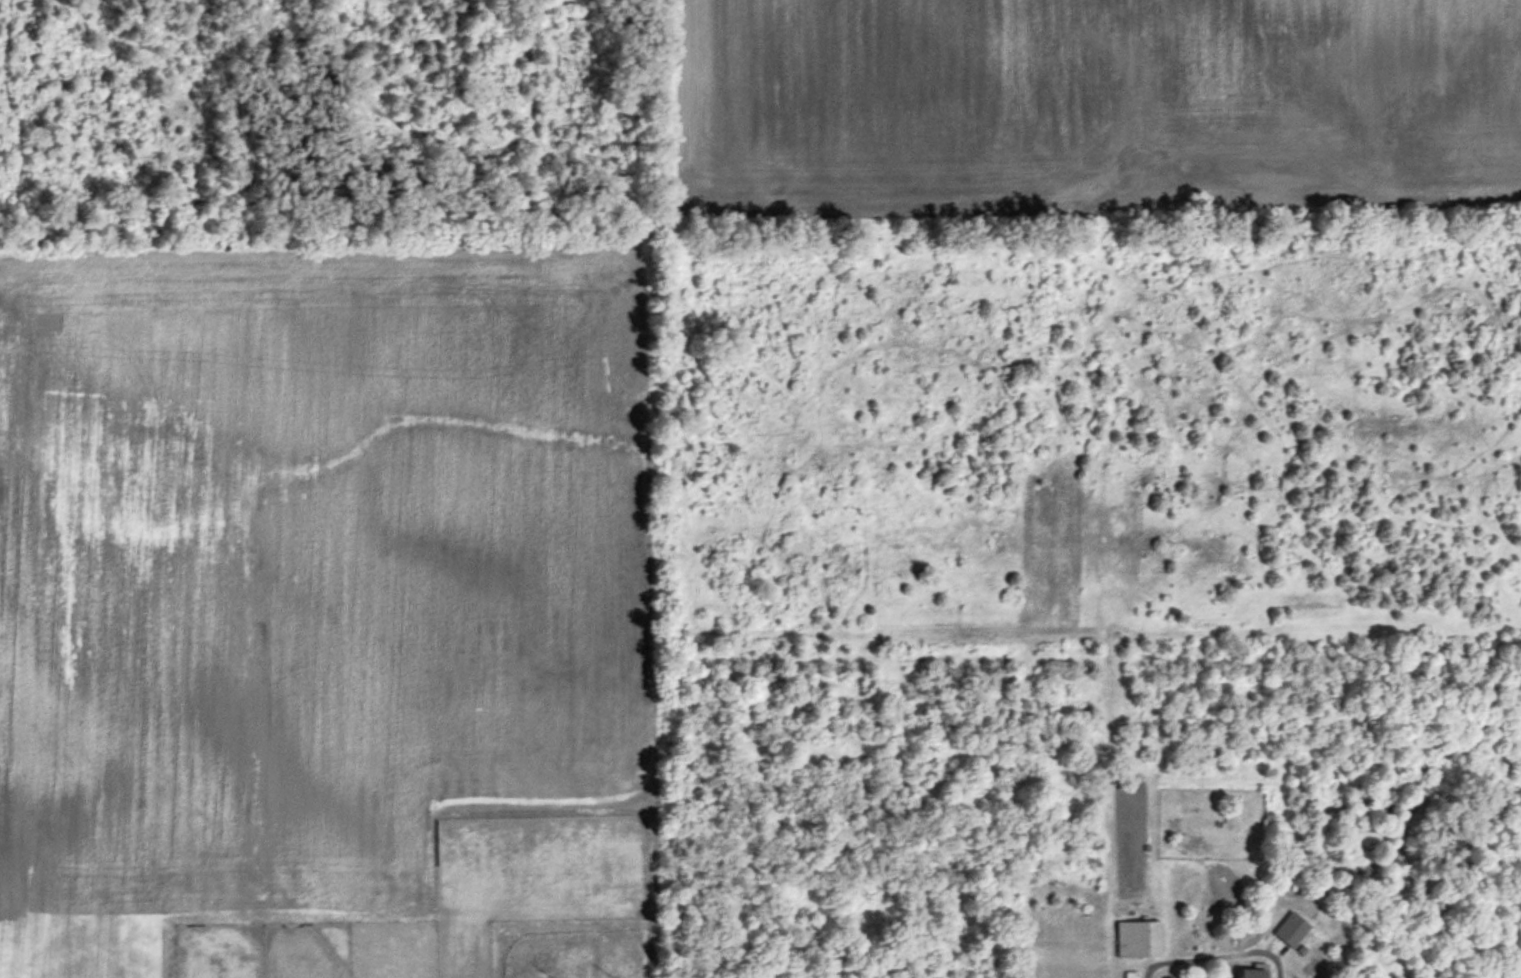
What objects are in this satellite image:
building: (1291, 931)
building: (1137, 940)
road: (1217, 956)
building: (1251, 974)
building: (1130, 975)

